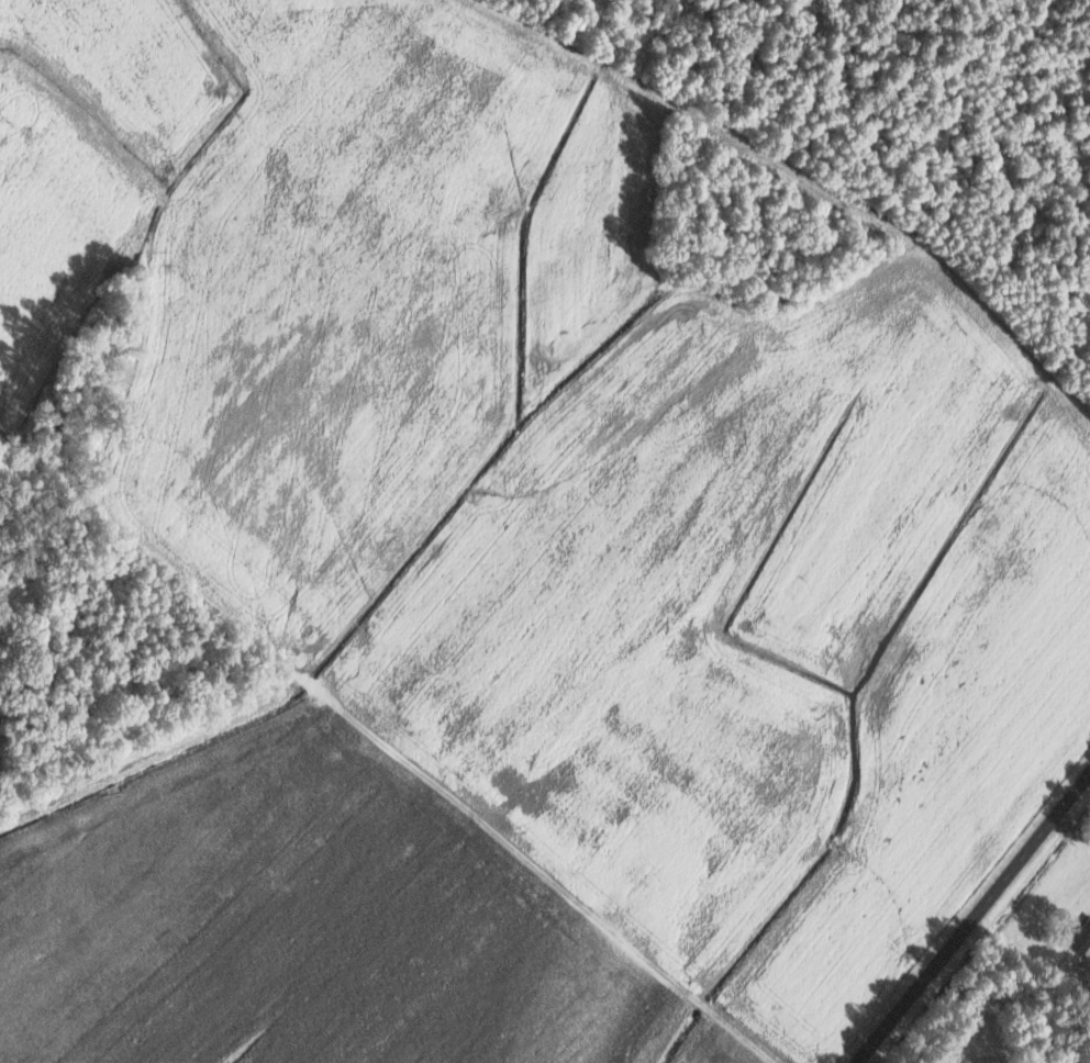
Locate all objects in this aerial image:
road: (1072, 826)
road: (974, 917)
building: (1081, 937)

